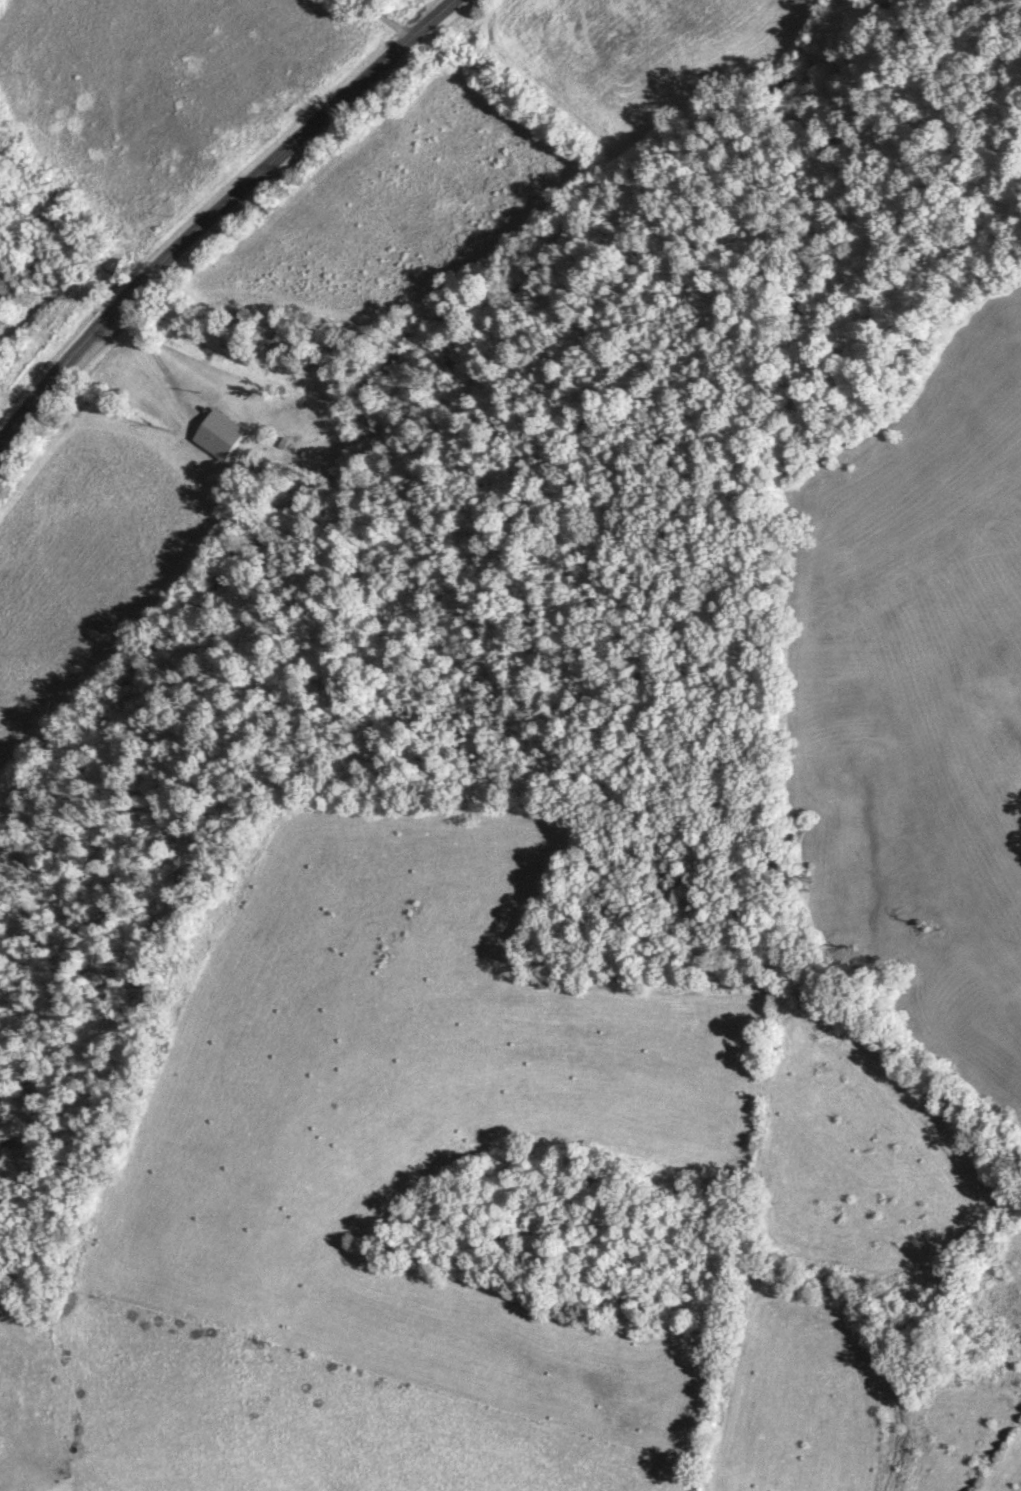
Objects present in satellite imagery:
road: (382, 21)
road: (219, 211)
building: (133, 379)
building: (255, 410)

